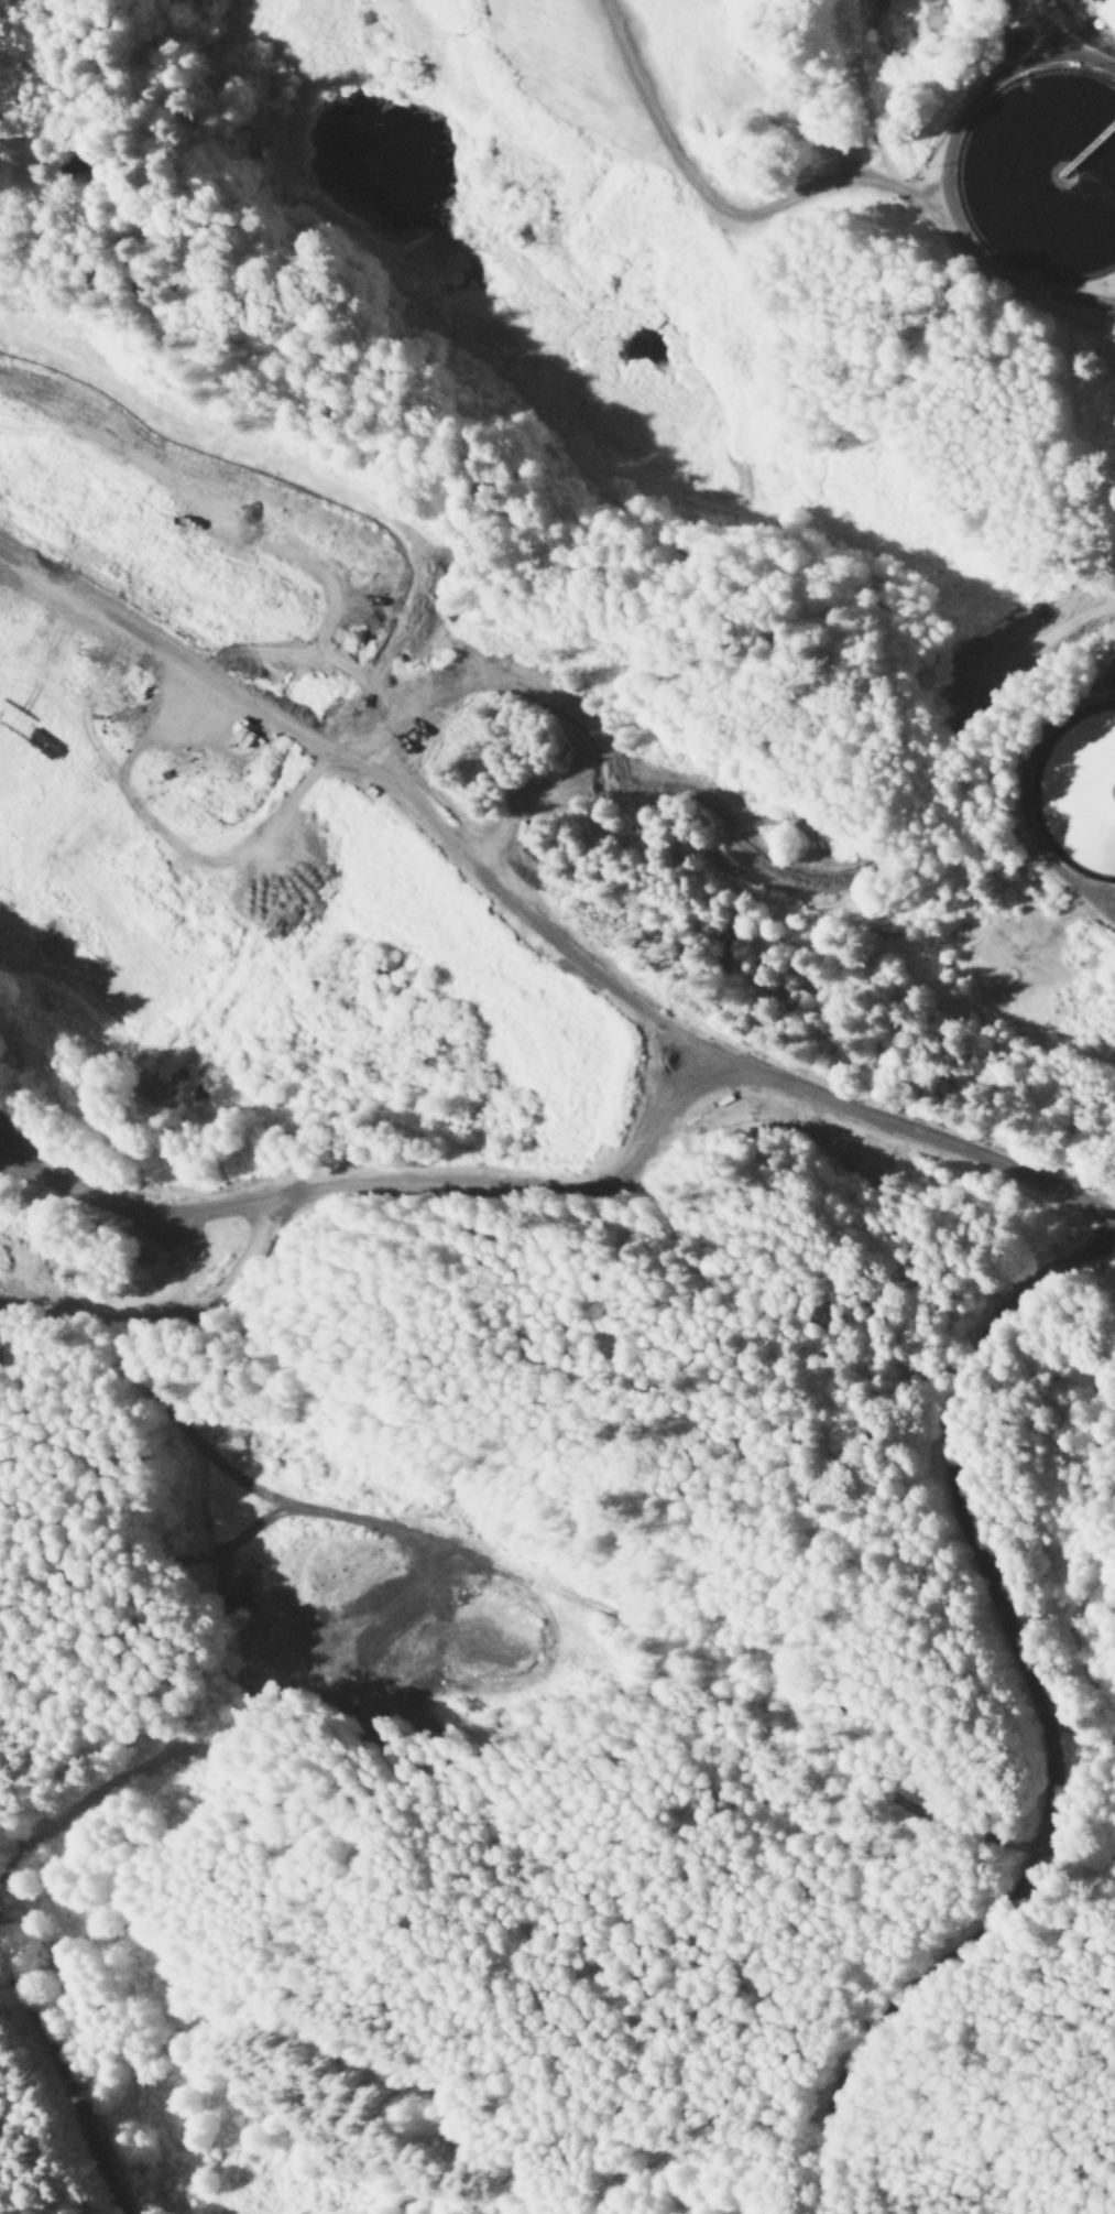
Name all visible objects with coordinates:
building: (1112, 14)

